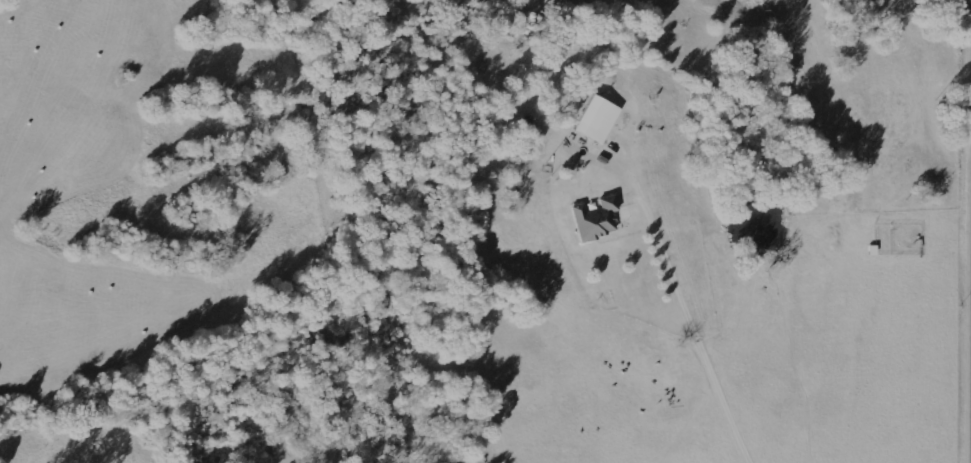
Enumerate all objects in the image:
building: (599, 118)
building: (596, 218)

